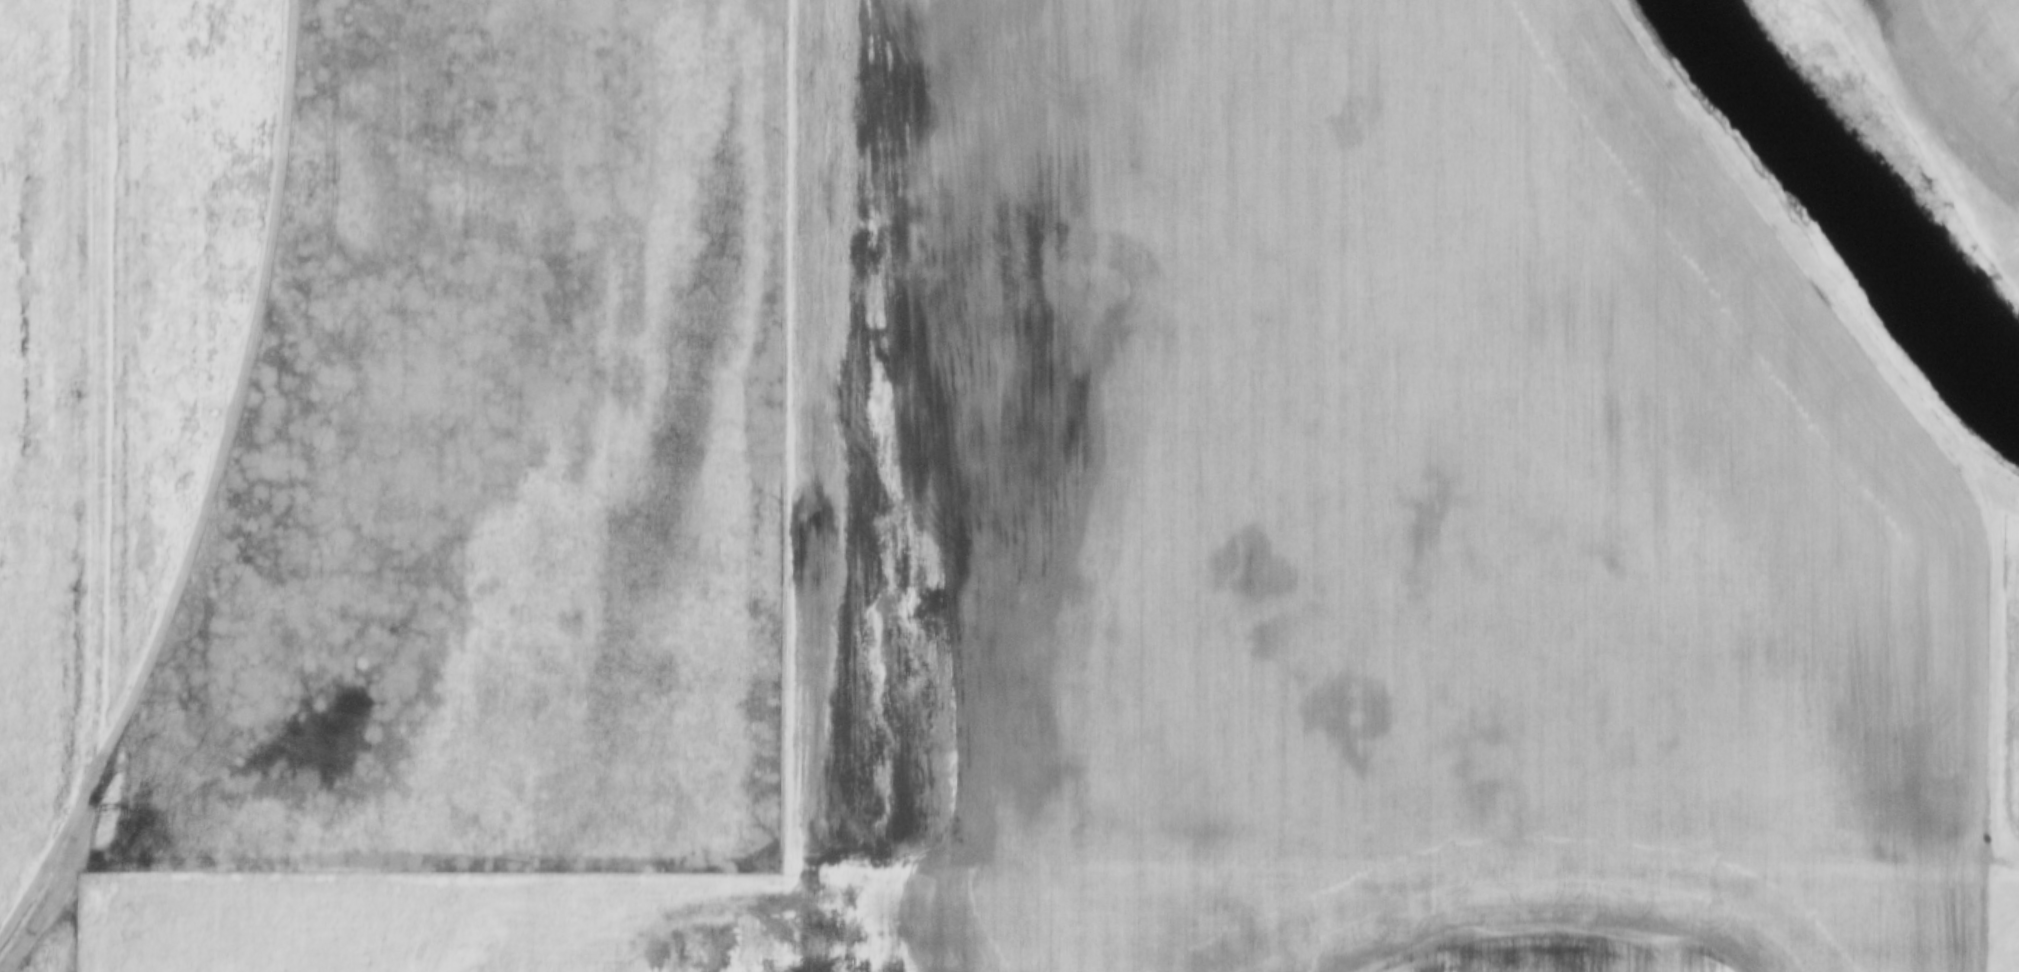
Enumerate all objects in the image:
river: (1858, 204)
road: (105, 392)
road: (1945, 437)
road: (212, 492)

